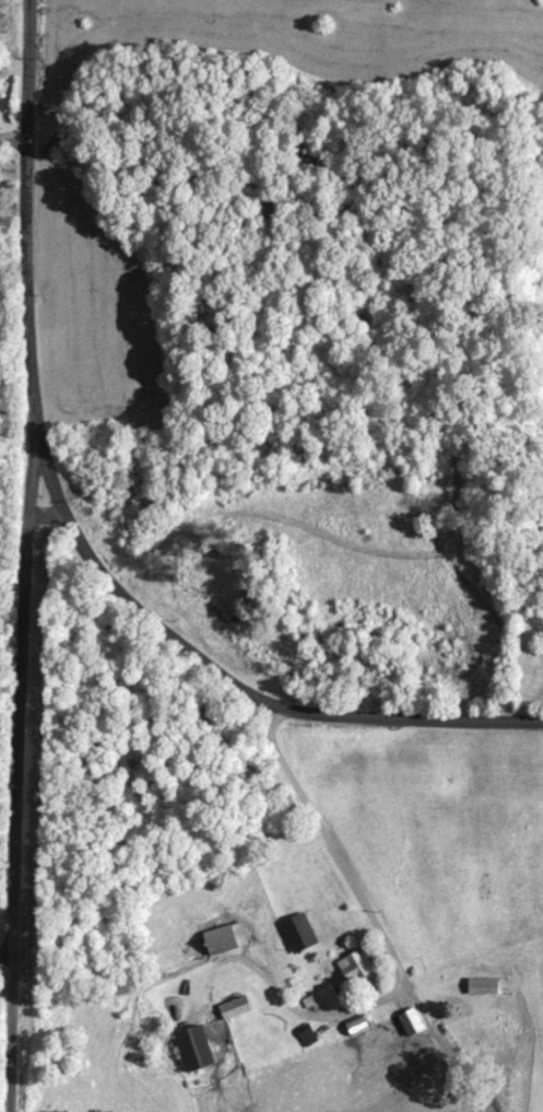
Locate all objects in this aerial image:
road: (27, 555)
road: (246, 688)
road: (366, 902)
building: (293, 930)
building: (216, 938)
road: (4, 946)
building: (349, 965)
building: (477, 985)
building: (324, 996)
building: (227, 1007)
building: (405, 1020)
building: (351, 1026)
building: (300, 1033)
building: (188, 1038)

